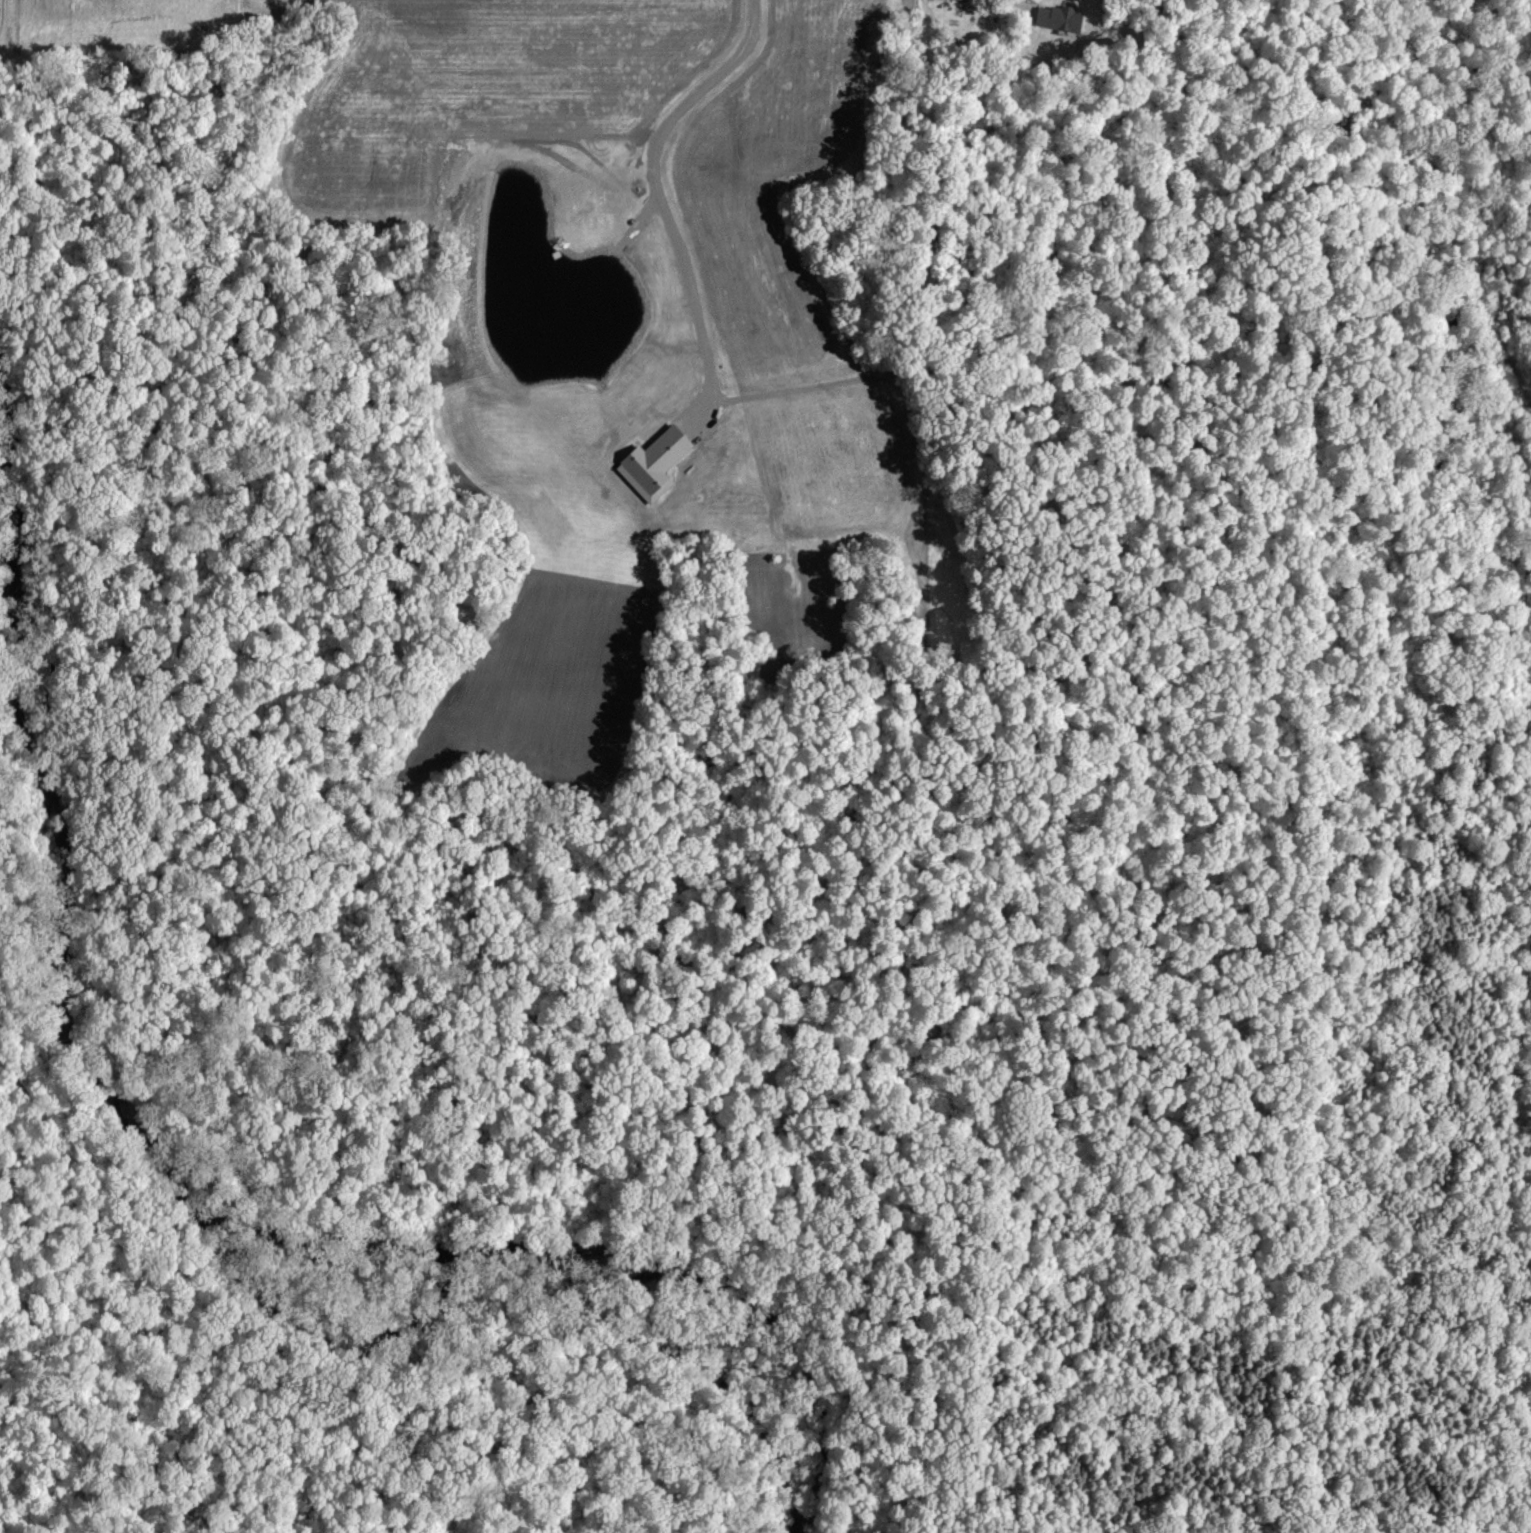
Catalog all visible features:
building: (1061, 19)
building: (657, 463)

